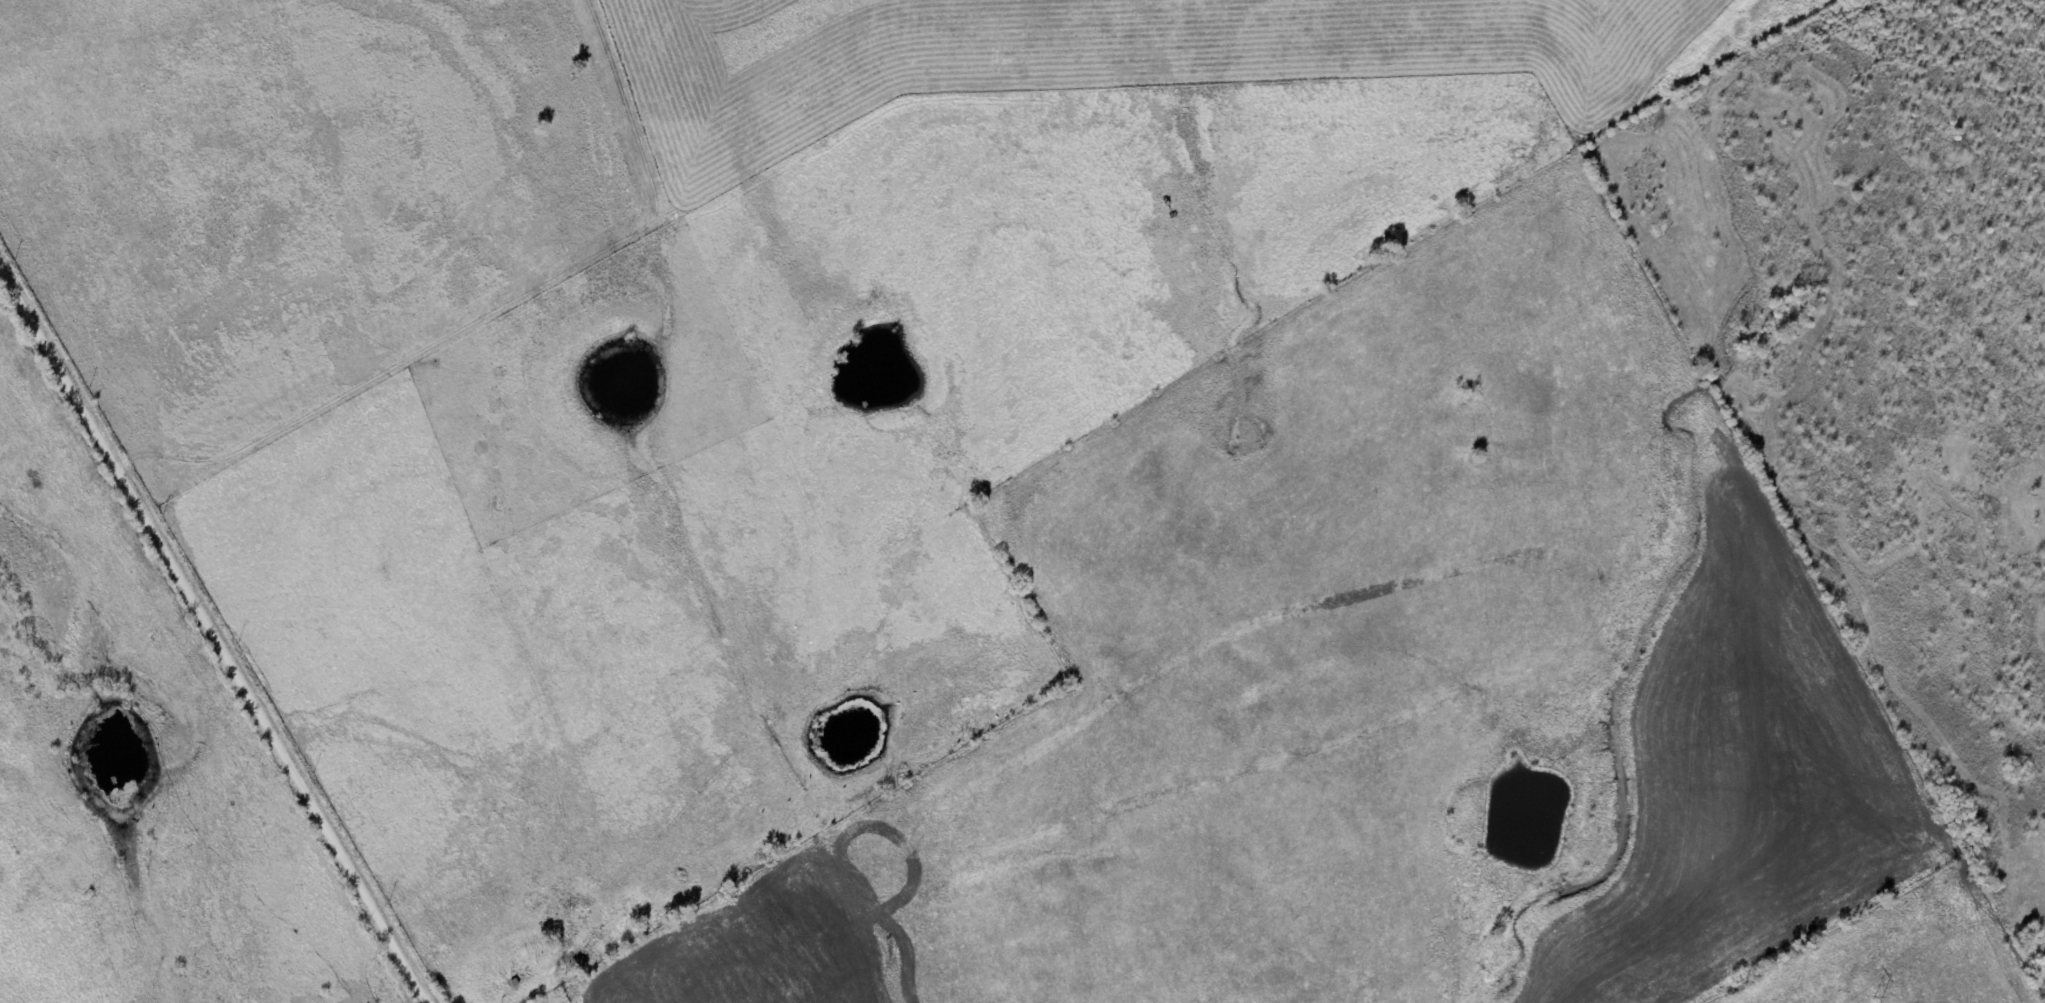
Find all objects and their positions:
road: (218, 629)

